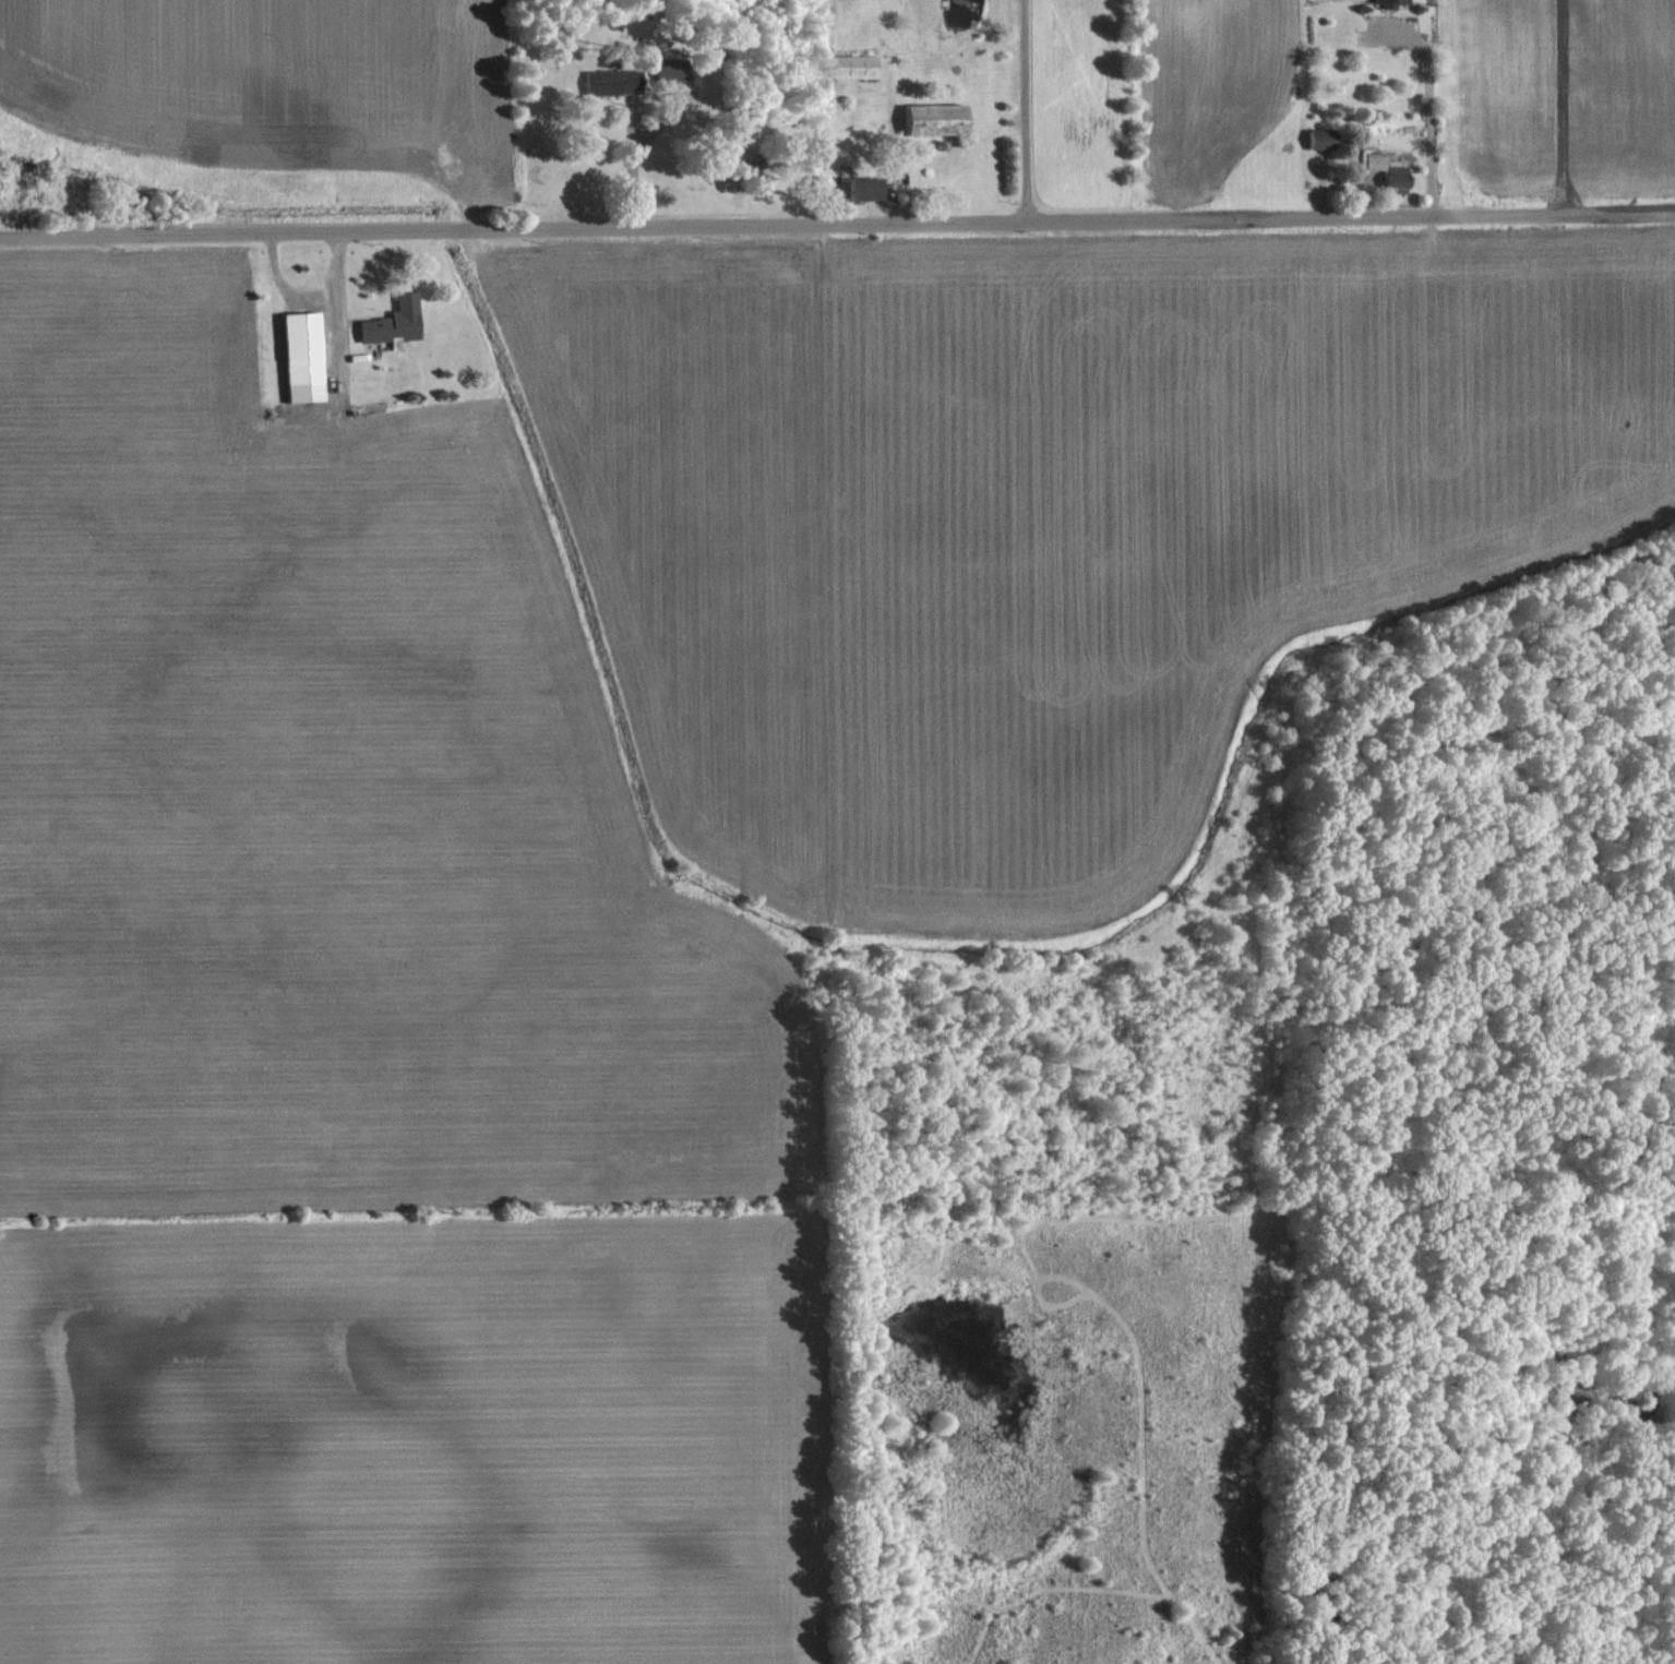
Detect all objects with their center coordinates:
building: (1392, 2)
building: (857, 65)
building: (673, 68)
building: (613, 81)
road: (1426, 106)
road: (1025, 110)
building: (937, 118)
building: (1324, 137)
road: (631, 165)
building: (1400, 180)
building: (862, 187)
road: (837, 222)
building: (396, 321)
building: (303, 346)

